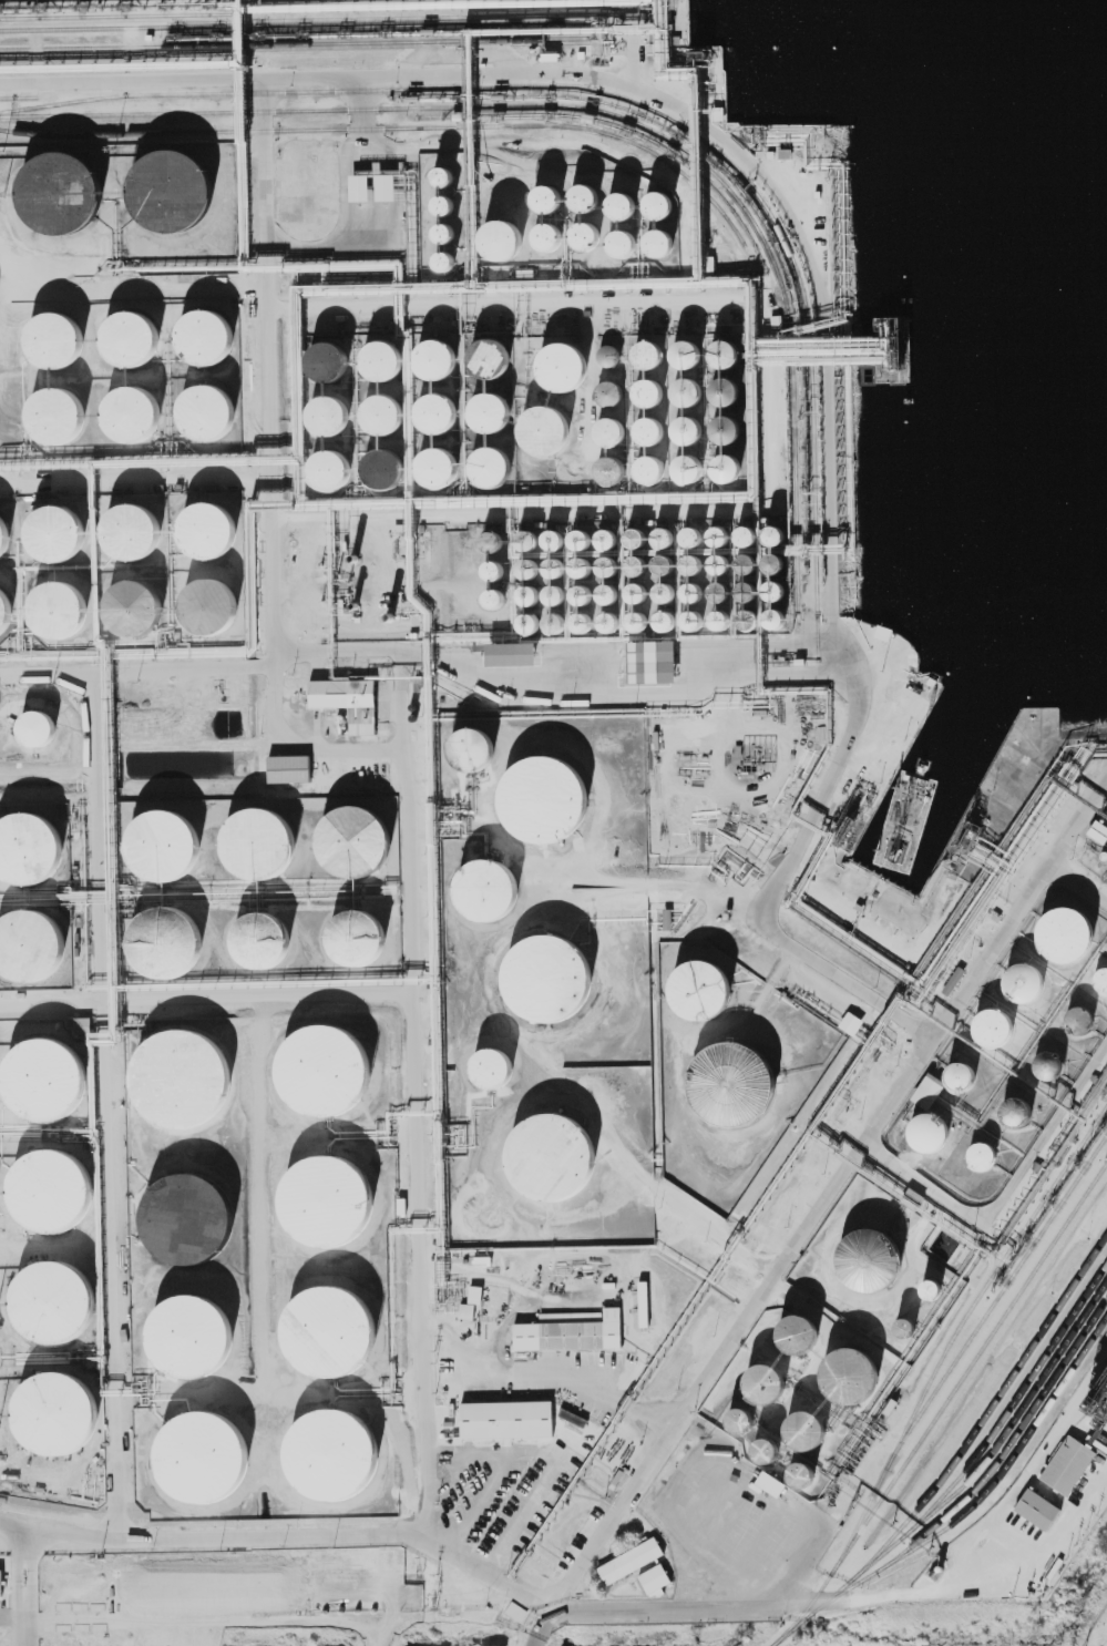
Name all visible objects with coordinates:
railway: (116, 16)
railway: (294, 24)
railway: (294, 43)
road: (472, 74)
railway: (632, 102)
railway: (597, 110)
railway: (394, 127)
building: (439, 175)
storage tank: (439, 175)
building: (359, 188)
building: (166, 190)
storage tank: (166, 190)
building: (52, 191)
storage tank: (52, 191)
building: (541, 197)
storage tank: (541, 197)
building: (581, 197)
storage tank: (581, 197)
building: (621, 198)
storage tank: (621, 198)
building: (658, 200)
storage tank: (658, 200)
building: (441, 203)
storage tank: (441, 203)
building: (442, 233)
storage tank: (442, 233)
building: (542, 236)
storage tank: (542, 236)
building: (582, 237)
storage tank: (582, 237)
building: (621, 237)
storage tank: (621, 237)
building: (658, 237)
storage tank: (658, 237)
road: (266, 239)
building: (500, 239)
storage tank: (500, 239)
building: (441, 260)
storage tank: (441, 260)
building: (204, 335)
storage tank: (204, 335)
building: (131, 339)
storage tank: (131, 339)
building: (55, 341)
storage tank: (55, 341)
building: (449, 345)
storage tank: (449, 345)
building: (725, 348)
storage tank: (725, 348)
building: (338, 349)
storage tank: (338, 349)
building: (397, 349)
storage tank: (397, 349)
building: (687, 349)
storage tank: (687, 349)
building: (649, 350)
storage tank: (649, 350)
building: (504, 352)
storage tank: (504, 352)
building: (609, 352)
storage tank: (609, 352)
building: (489, 358)
building: (325, 360)
building: (435, 360)
building: (381, 361)
building: (562, 361)
storage tank: (562, 361)
building: (724, 386)
storage tank: (724, 386)
building: (687, 387)
storage tank: (687, 387)
building: (649, 388)
storage tank: (649, 388)
building: (609, 390)
storage tank: (609, 390)
building: (501, 399)
storage tank: (501, 399)
building: (452, 402)
storage tank: (452, 402)
building: (339, 403)
storage tank: (339, 403)
building: (397, 405)
storage tank: (397, 405)
building: (489, 412)
building: (208, 413)
storage tank: (208, 413)
building: (133, 415)
storage tank: (133, 415)
building: (58, 418)
storage tank: (58, 418)
building: (688, 423)
storage tank: (688, 423)
building: (725, 423)
storage tank: (725, 423)
building: (544, 425)
storage tank: (544, 425)
building: (609, 426)
storage tank: (609, 426)
building: (650, 426)
storage tank: (650, 426)
building: (506, 456)
storage tank: (506, 456)
building: (455, 457)
storage tank: (455, 457)
building: (394, 459)
storage tank: (394, 459)
building: (344, 460)
storage tank: (344, 460)
building: (726, 462)
storage tank: (726, 462)
building: (689, 463)
storage tank: (689, 463)
building: (652, 464)
storage tank: (652, 464)
building: (611, 466)
storage tank: (611, 466)
road: (135, 481)
building: (221, 520)
storage tank: (221, 520)
building: (147, 522)
storage tank: (147, 522)
building: (68, 523)
storage tank: (68, 523)
building: (9, 528)
storage tank: (9, 528)
building: (747, 531)
storage tank: (747, 531)
building: (773, 531)
storage tank: (773, 531)
building: (693, 532)
storage tank: (693, 532)
building: (720, 532)
storage tank: (720, 532)
building: (636, 533)
storage tank: (636, 533)
building: (664, 533)
storage tank: (664, 533)
building: (582, 534)
storage tank: (582, 534)
building: (608, 534)
storage tank: (608, 534)
building: (529, 535)
storage tank: (529, 535)
building: (555, 535)
storage tank: (555, 535)
building: (747, 559)
storage tank: (747, 559)
building: (773, 559)
storage tank: (773, 559)
building: (693, 560)
storage tank: (693, 560)
building: (637, 561)
storage tank: (637, 561)
building: (664, 561)
storage tank: (664, 561)
building: (720, 561)
storage tank: (720, 561)
building: (582, 563)
storage tank: (582, 563)
building: (608, 563)
storage tank: (608, 563)
building: (529, 564)
storage tank: (529, 564)
building: (555, 564)
storage tank: (555, 564)
building: (491, 568)
storage tank: (491, 568)
building: (746, 586)
storage tank: (746, 586)
building: (773, 586)
storage tank: (773, 586)
building: (693, 587)
storage tank: (693, 587)
building: (719, 587)
storage tank: (719, 587)
building: (636, 589)
storage tank: (636, 589)
building: (663, 589)
storage tank: (663, 589)
building: (581, 590)
storage tank: (581, 590)
building: (527, 591)
storage tank: (527, 591)
building: (555, 591)
storage tank: (555, 591)
building: (607, 591)
storage tank: (607, 591)
building: (492, 596)
storage tank: (492, 596)
building: (70, 599)
storage tank: (70, 599)
building: (145, 600)
storage tank: (145, 600)
building: (228, 601)
storage tank: (228, 601)
building: (12, 604)
storage tank: (12, 604)
building: (748, 614)
storage tank: (748, 614)
building: (775, 614)
storage tank: (775, 614)
building: (694, 615)
storage tank: (694, 615)
building: (720, 615)
storage tank: (720, 615)
building: (637, 616)
storage tank: (637, 616)
building: (664, 616)
storage tank: (664, 616)
building: (530, 618)
storage tank: (530, 618)
building: (582, 618)
storage tank: (582, 618)
building: (608, 618)
storage tank: (608, 618)
building: (556, 620)
storage tank: (556, 620)
building: (883, 633)
building: (512, 655)
road: (439, 678)
building: (342, 694)
building: (53, 719)
storage tank: (53, 719)
building: (35, 729)
building: (470, 748)
storage tank: (470, 748)
building: (289, 769)
building: (556, 794)
storage tank: (556, 794)
building: (273, 830)
storage tank: (273, 830)
building: (368, 831)
storage tank: (368, 831)
building: (1098, 831)
building: (177, 836)
storage tank: (177, 836)
building: (39, 840)
storage tank: (39, 840)
road: (1078, 883)
building: (484, 888)
storage tank: (484, 888)
road: (767, 903)
building: (371, 930)
storage tank: (371, 930)
building: (278, 932)
storage tank: (278, 932)
building: (1067, 932)
storage tank: (1067, 932)
building: (40, 936)
storage tank: (40, 936)
building: (178, 938)
storage tank: (178, 938)
building: (562, 972)
storage tank: (562, 972)
building: (1100, 980)
storage tank: (1100, 980)
building: (1025, 982)
storage tank: (1025, 982)
building: (696, 983)
storage tank: (696, 983)
road: (91, 1002)
road: (44, 1003)
building: (1078, 1020)
storage tank: (1078, 1020)
building: (851, 1024)
building: (996, 1028)
storage tank: (996, 1028)
building: (1048, 1066)
storage tank: (1048, 1066)
building: (485, 1067)
storage tank: (485, 1067)
building: (318, 1070)
storage tank: (318, 1070)
building: (181, 1081)
storage tank: (181, 1081)
building: (962, 1081)
storage tank: (962, 1081)
building: (47, 1083)
storage tank: (47, 1083)
building: (735, 1084)
storage tank: (735, 1084)
building: (1018, 1113)
storage tank: (1018, 1113)
road: (422, 1132)
building: (930, 1137)
storage tank: (930, 1137)
building: (565, 1149)
storage tank: (565, 1149)
building: (981, 1157)
storage tank: (981, 1157)
road: (1007, 1190)
building: (51, 1194)
storage tank: (51, 1194)
building: (322, 1199)
storage tank: (322, 1199)
building: (188, 1219)
storage tank: (188, 1219)
building: (873, 1261)
storage tank: (873, 1261)
building: (927, 1287)
storage tank: (927, 1287)
building: (475, 1295)
railway: (995, 1301)
building: (52, 1303)
storage tank: (52, 1303)
building: (644, 1305)
building: (467, 1311)
building: (900, 1323)
storage tank: (900, 1323)
building: (322, 1329)
storage tank: (322, 1329)
building: (184, 1331)
storage tank: (184, 1331)
building: (793, 1332)
storage tank: (793, 1332)
railway: (968, 1369)
building: (842, 1373)
storage tank: (842, 1373)
railway: (933, 1373)
building: (758, 1380)
storage tank: (758, 1380)
building: (740, 1415)
storage tank: (740, 1415)
building: (58, 1417)
storage tank: (58, 1417)
building: (506, 1420)
railway: (1014, 1420)
building: (798, 1424)
storage tank: (798, 1424)
road: (674, 1425)
road: (426, 1434)
railway: (992, 1435)
building: (761, 1448)
storage tank: (761, 1448)
building: (325, 1450)
storage tank: (325, 1450)
building: (201, 1452)
storage tank: (201, 1452)
railway: (959, 1458)
railway: (1009, 1462)
building: (1068, 1465)
building: (795, 1470)
storage tank: (795, 1470)
railway: (982, 1484)
building: (1037, 1510)
building: (631, 1561)
building: (341, 1577)
building: (655, 1579)
road: (25, 1588)
road: (555, 1596)
road: (862, 1599)
road: (558, 1608)
road: (551, 1616)
road: (209, 1623)
road: (539, 1633)

